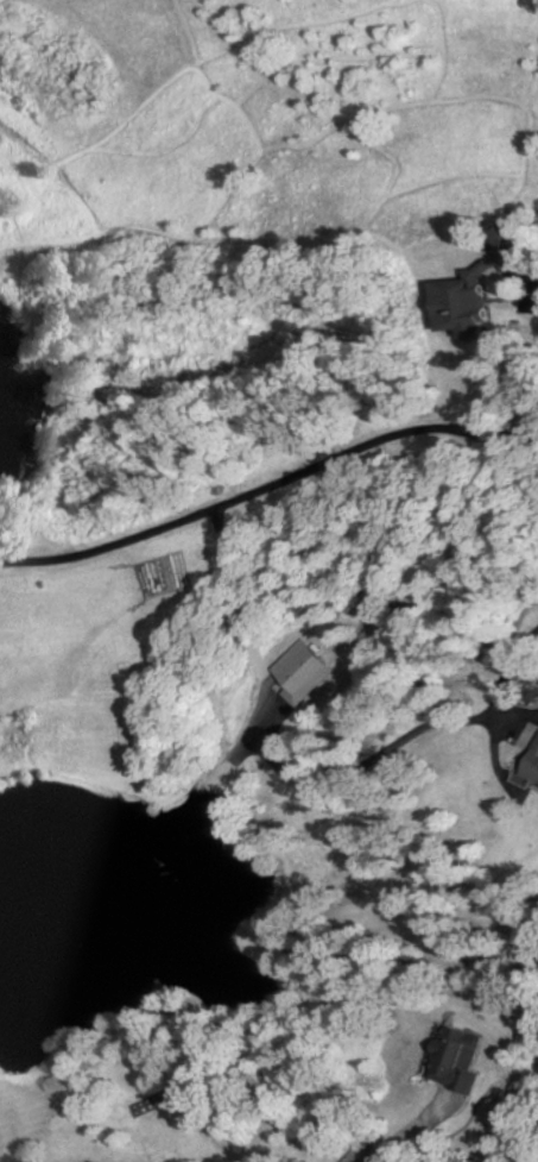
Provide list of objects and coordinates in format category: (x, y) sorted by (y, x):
building: (460, 303)
road: (268, 486)
building: (299, 671)
road: (500, 679)
building: (530, 762)
building: (452, 1060)

